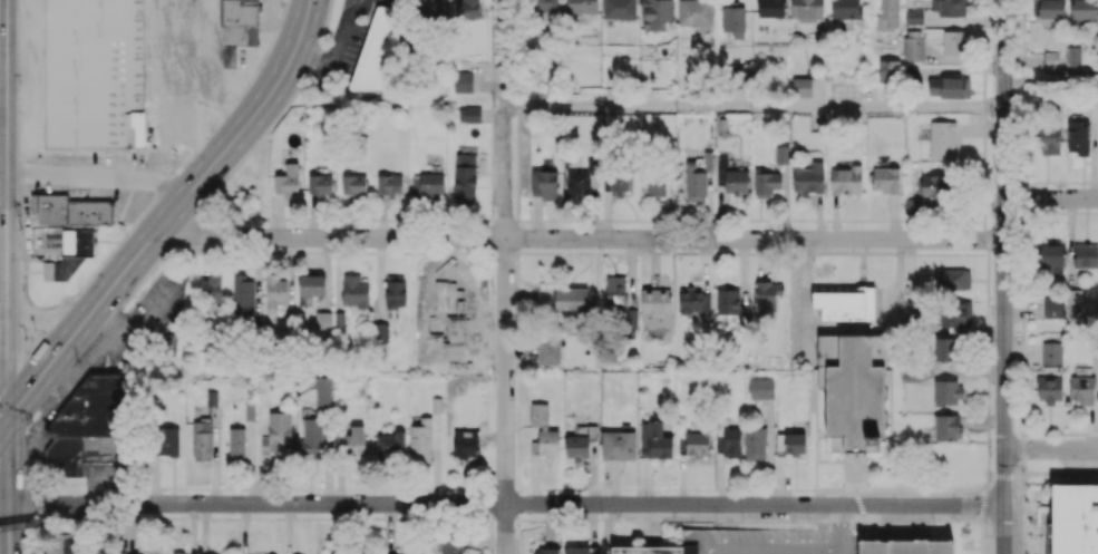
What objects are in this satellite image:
building: (581, 6)
building: (430, 7)
building: (952, 7)
building: (770, 8)
building: (807, 8)
building: (467, 9)
building: (545, 9)
building: (620, 9)
building: (845, 9)
building: (1048, 9)
building: (1085, 10)
building: (657, 13)
building: (694, 13)
building: (888, 13)
building: (913, 16)
building: (733, 20)
building: (237, 28)
building: (954, 42)
building: (913, 45)
building: (378, 52)
building: (1073, 56)
building: (888, 70)
building: (740, 77)
building: (463, 81)
road: (179, 86)
building: (801, 86)
building: (949, 87)
road: (215, 105)
road: (755, 105)
building: (469, 114)
building: (1077, 137)
building: (1046, 138)
building: (942, 139)
building: (781, 154)
road: (98, 175)
building: (732, 176)
building: (697, 177)
building: (808, 177)
building: (464, 178)
building: (619, 179)
building: (845, 179)
building: (885, 179)
building: (286, 181)
building: (582, 181)
building: (767, 181)
building: (389, 183)
building: (319, 184)
building: (352, 184)
building: (427, 185)
building: (544, 185)
building: (655, 185)
building: (934, 185)
road: (1051, 197)
building: (912, 204)
road: (7, 205)
building: (69, 210)
road: (172, 212)
road: (1004, 224)
road: (579, 237)
building: (1086, 255)
building: (1052, 257)
building: (50, 271)
road: (506, 276)
building: (952, 279)
building: (311, 286)
building: (211, 288)
building: (458, 289)
building: (615, 290)
building: (275, 291)
building: (395, 291)
building: (354, 292)
building: (767, 294)
building: (243, 295)
building: (690, 299)
building: (563, 300)
building: (1075, 302)
building: (730, 303)
building: (845, 303)
building: (655, 308)
building: (1052, 308)
building: (954, 313)
building: (631, 318)
building: (322, 320)
building: (944, 348)
building: (547, 350)
building: (827, 350)
building: (1051, 352)
road: (3, 373)
building: (760, 388)
building: (1048, 388)
building: (1081, 389)
building: (322, 390)
building: (946, 392)
building: (856, 396)
building: (211, 398)
traffic signals: (9, 410)
building: (538, 415)
road: (4, 416)
building: (88, 426)
building: (946, 427)
building: (276, 431)
building: (312, 435)
building: (168, 440)
building: (202, 440)
building: (350, 440)
building: (420, 440)
building: (654, 440)
building: (547, 441)
building: (236, 443)
building: (731, 443)
building: (755, 443)
building: (697, 444)
building: (789, 444)
building: (390, 445)
building: (465, 445)
building: (618, 445)
building: (576, 446)
road: (1051, 449)
parking lot: (1078, 459)
road: (1004, 476)
road: (10, 482)
road: (502, 504)
parking lot: (721, 509)
building: (1072, 519)
road: (43, 524)
parking lot: (1009, 527)
road: (838, 528)
road: (984, 528)
road: (1004, 528)
building: (725, 540)
building: (61, 543)
building: (451, 545)
building: (905, 546)
road: (771, 548)
building: (576, 550)
building: (654, 550)
road: (705, 552)
building: (50, 553)
building: (184, 553)
building: (444, 553)
building: (535, 553)
building: (589, 553)

